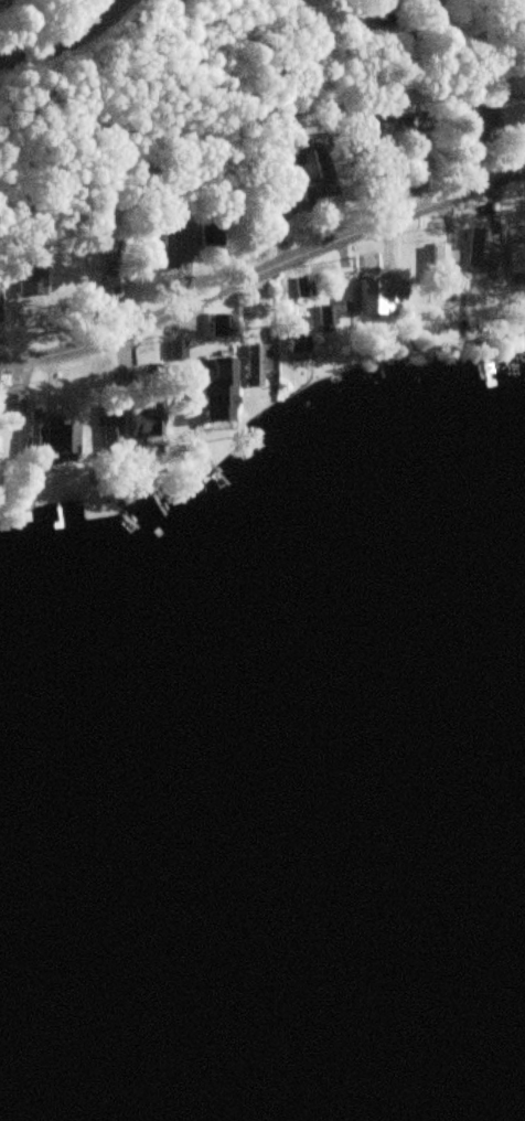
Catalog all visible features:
road: (12, 2)
building: (320, 182)
building: (180, 235)
building: (108, 247)
building: (483, 247)
building: (516, 255)
building: (443, 257)
road: (267, 276)
building: (303, 287)
building: (395, 290)
building: (326, 318)
building: (225, 324)
building: (298, 334)
building: (255, 363)
building: (215, 398)
building: (12, 410)
building: (146, 410)
building: (35, 431)
building: (111, 434)
building: (62, 439)
river: (15, 1099)

